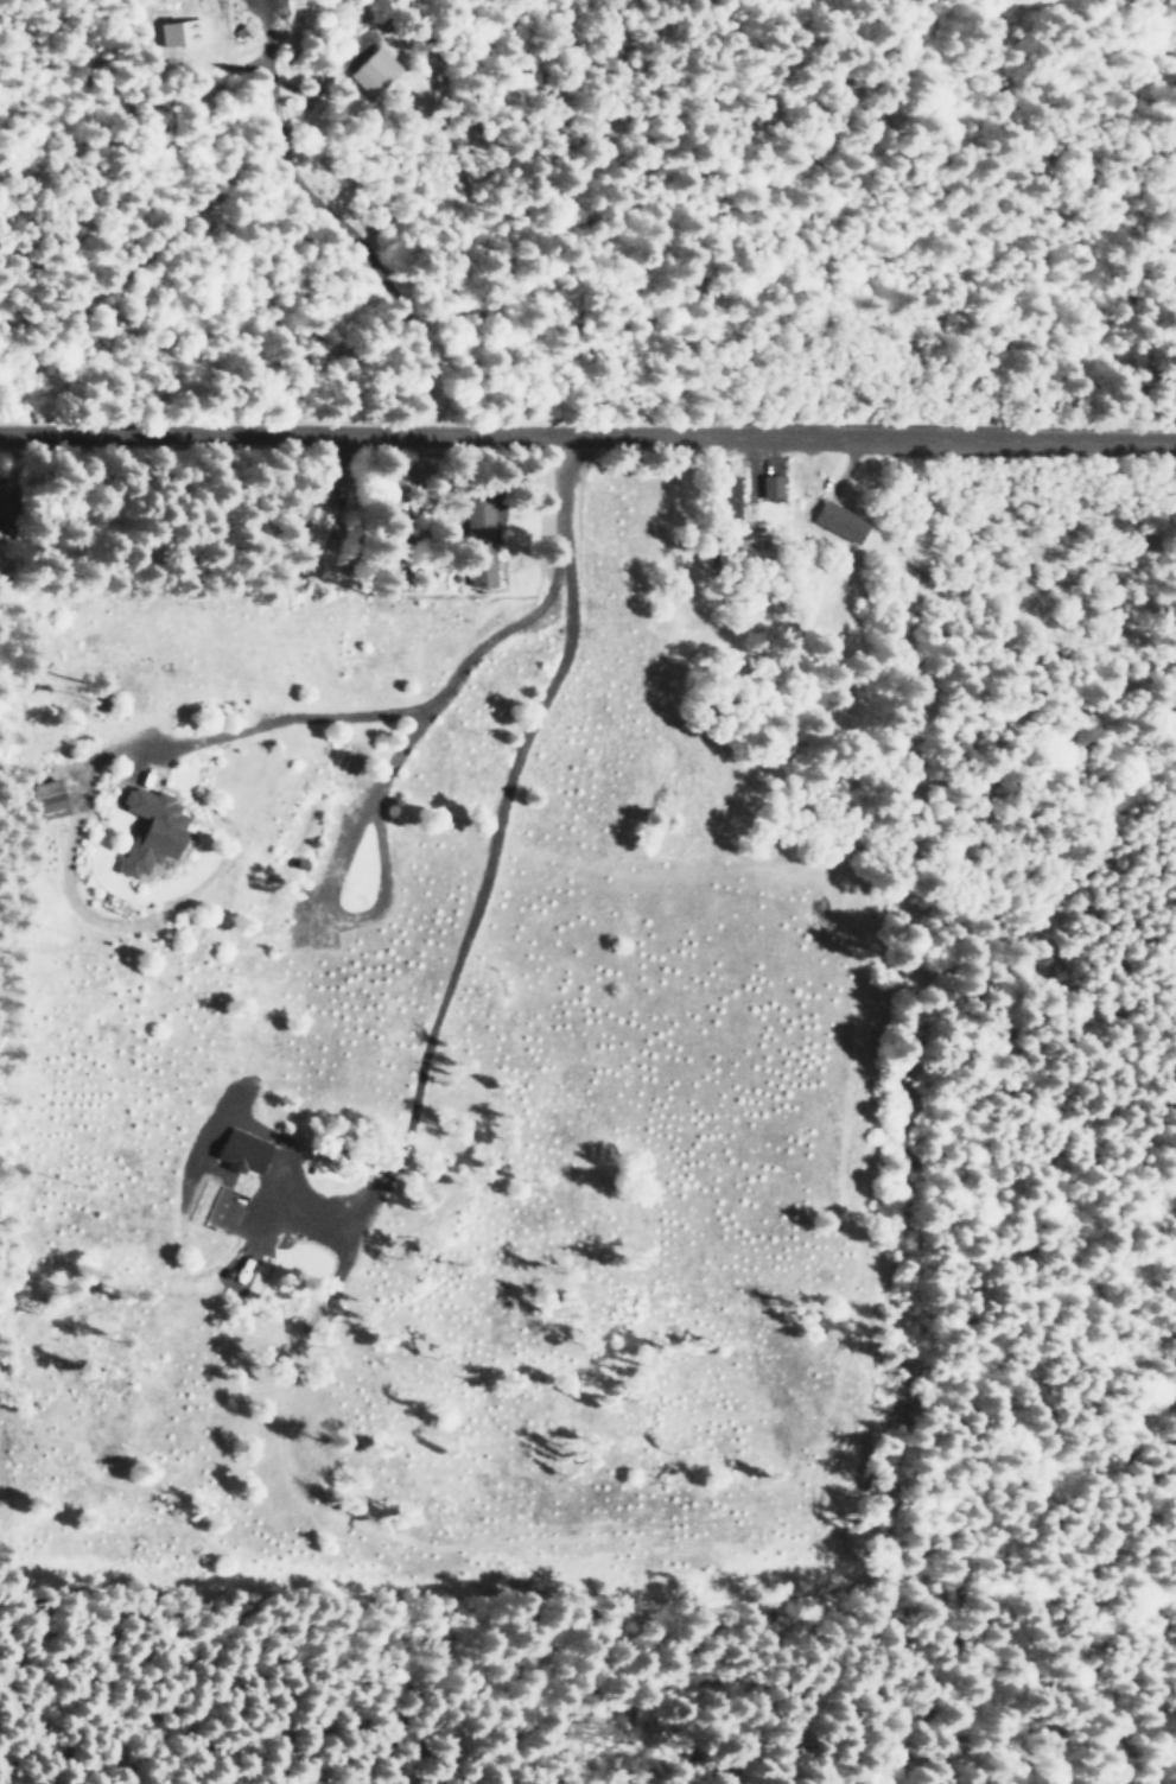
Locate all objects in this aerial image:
road: (587, 430)

